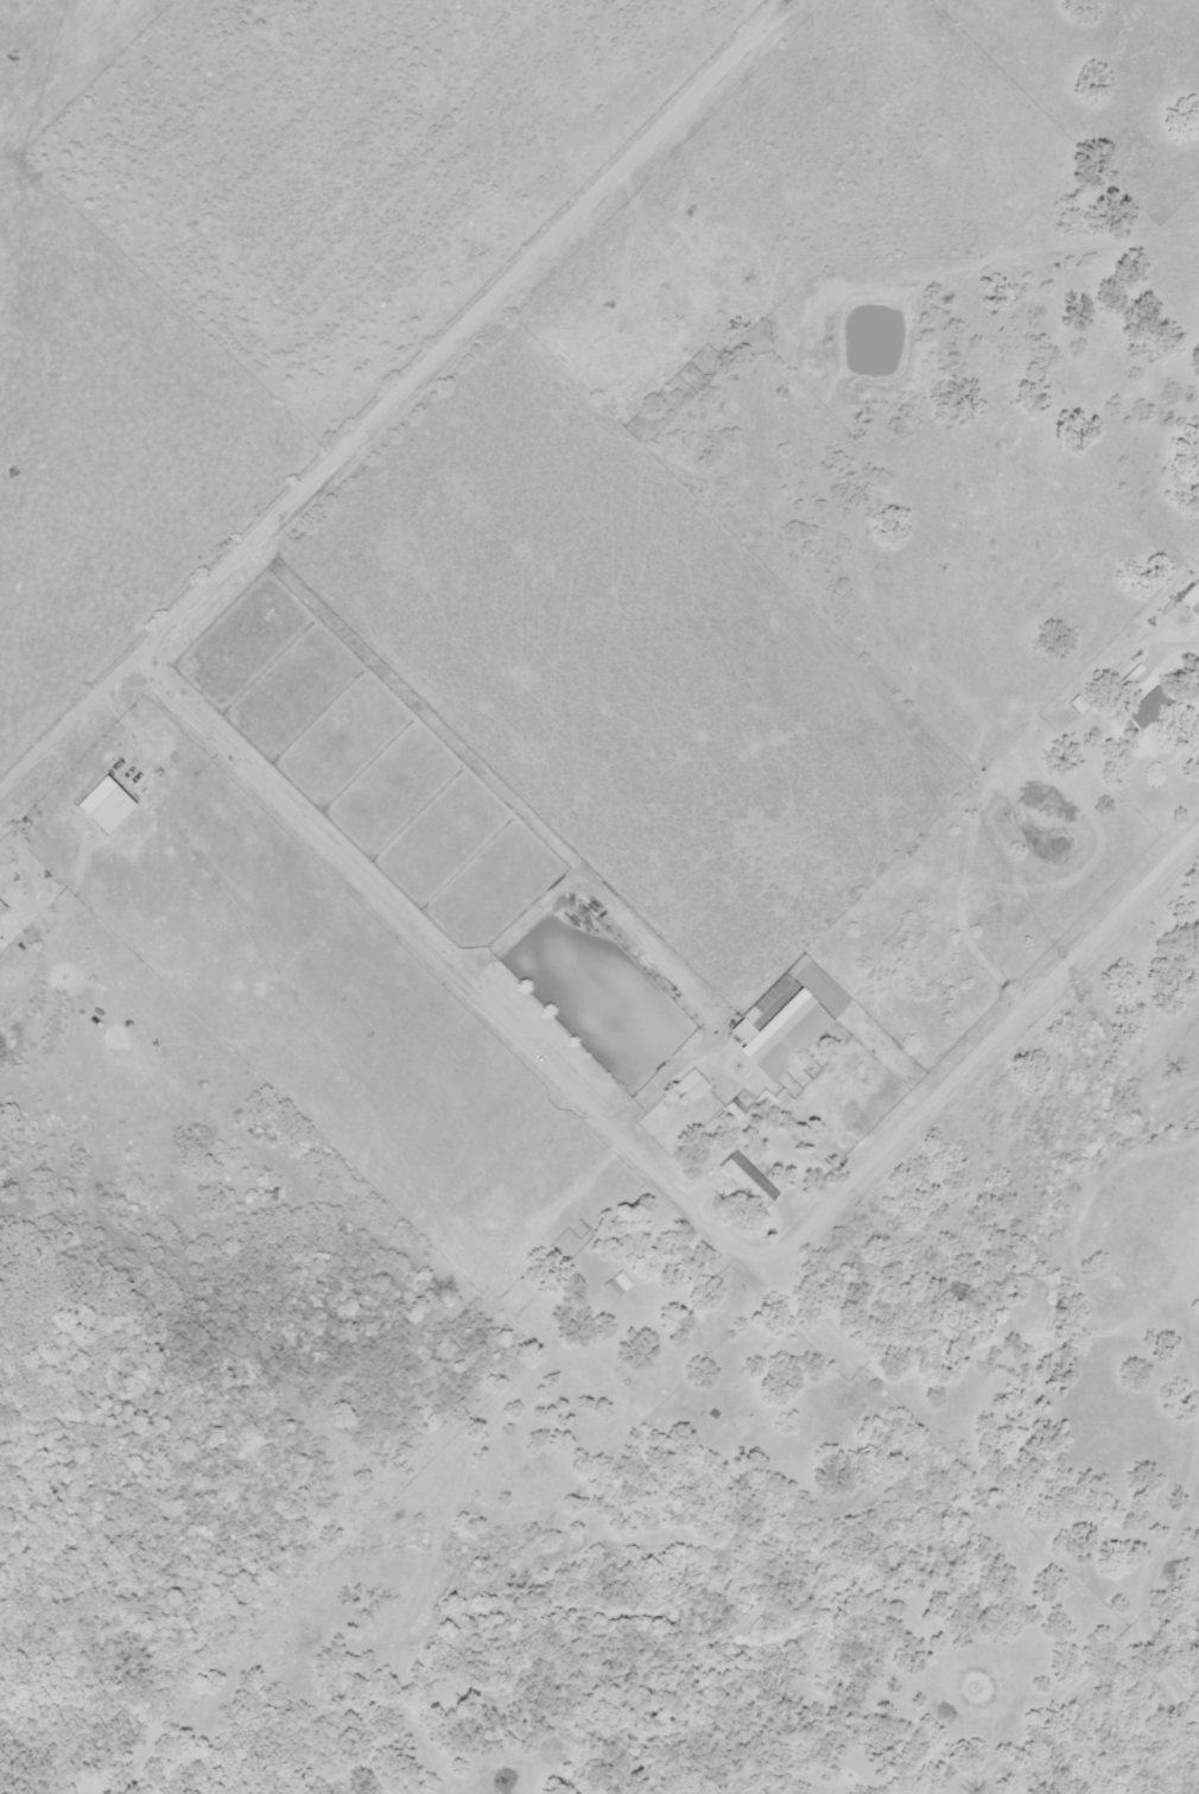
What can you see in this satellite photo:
road: (392, 399)
building: (1190, 592)
building: (1148, 712)
building: (0, 907)
building: (769, 1002)
building: (736, 1108)
road: (658, 1171)
building: (748, 1181)

